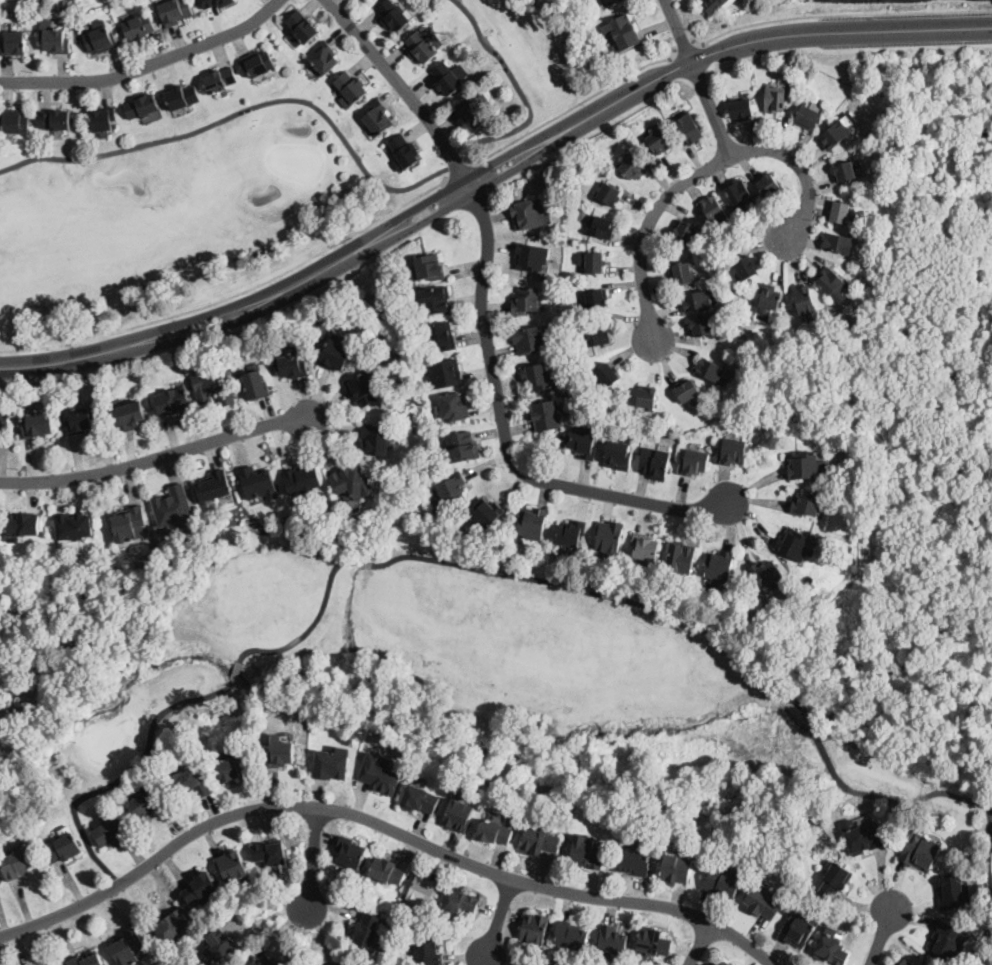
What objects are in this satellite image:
building: (764, 0)
building: (612, 2)
building: (214, 3)
building: (713, 6)
building: (174, 11)
road: (842, 13)
building: (393, 14)
building: (138, 26)
building: (301, 27)
building: (621, 32)
road: (680, 33)
building: (54, 38)
building: (100, 40)
building: (14, 43)
building: (420, 46)
road: (685, 46)
road: (714, 47)
building: (323, 58)
building: (259, 62)
road: (147, 65)
building: (446, 78)
building: (219, 80)
building: (350, 87)
road: (403, 87)
building: (182, 96)
building: (774, 98)
building: (142, 106)
road: (569, 106)
building: (741, 109)
building: (475, 110)
road: (714, 111)
building: (806, 116)
building: (377, 117)
building: (102, 118)
building: (55, 119)
building: (17, 120)
building: (689, 128)
building: (835, 134)
road: (341, 136)
building: (659, 141)
building: (403, 151)
road: (455, 166)
building: (632, 167)
building: (844, 170)
road: (700, 175)
building: (769, 184)
road: (464, 186)
park: (231, 187)
building: (738, 192)
building: (608, 194)
building: (714, 210)
road: (404, 211)
building: (840, 211)
building: (529, 213)
road: (411, 224)
building: (599, 226)
building: (685, 231)
building: (837, 243)
building: (530, 257)
road: (339, 259)
building: (593, 262)
building: (746, 266)
building: (429, 267)
building: (681, 271)
building: (830, 280)
building: (359, 291)
road: (235, 293)
building: (596, 298)
building: (434, 299)
building: (768, 299)
building: (804, 299)
building: (526, 300)
building: (696, 300)
road: (226, 305)
road: (232, 321)
building: (701, 325)
building: (441, 335)
building: (594, 335)
building: (528, 339)
building: (336, 353)
road: (67, 356)
building: (291, 363)
building: (710, 369)
building: (444, 373)
building: (606, 375)
building: (538, 376)
building: (256, 383)
building: (213, 386)
building: (363, 387)
building: (687, 390)
building: (647, 398)
building: (171, 400)
building: (453, 406)
building: (128, 415)
building: (545, 415)
building: (79, 421)
building: (5, 422)
building: (38, 424)
road: (503, 432)
building: (378, 439)
building: (584, 443)
building: (460, 447)
building: (732, 452)
building: (618, 454)
road: (157, 455)
building: (654, 462)
building: (694, 462)
building: (807, 466)
building: (302, 479)
building: (352, 482)
building: (258, 483)
building: (212, 486)
building: (453, 488)
building: (852, 494)
building: (806, 503)
building: (172, 506)
building: (484, 513)
building: (531, 522)
building: (128, 523)
building: (22, 526)
building: (74, 526)
building: (570, 532)
building: (608, 538)
building: (794, 543)
building: (644, 547)
building: (680, 557)
road: (361, 561)
building: (718, 565)
building: (765, 572)
road: (605, 591)
park: (417, 668)
building: (19, 700)
road: (180, 704)
road: (808, 722)
building: (279, 753)
building: (332, 763)
building: (234, 767)
building: (379, 773)
building: (190, 783)
building: (419, 798)
road: (887, 800)
building: (146, 803)
road: (987, 813)
building: (457, 815)
road: (384, 825)
building: (111, 831)
building: (494, 832)
building: (862, 839)
building: (538, 841)
building: (64, 845)
building: (349, 851)
building: (921, 851)
building: (587, 852)
building: (269, 853)
road: (313, 860)
building: (632, 861)
building: (18, 863)
road: (986, 864)
building: (231, 866)
building: (675, 868)
building: (387, 871)
building: (836, 879)
building: (724, 880)
building: (200, 887)
building: (423, 890)
building: (953, 892)
building: (458, 903)
building: (761, 903)
road: (58, 909)
road: (500, 919)
building: (172, 927)
building: (534, 927)
building: (367, 929)
building: (797, 929)
building: (570, 935)
road: (882, 939)
building: (612, 940)
building: (949, 941)
building: (652, 942)
road: (700, 945)
building: (127, 947)
building: (221, 948)
building: (831, 948)
building: (427, 950)
building: (86, 960)
building: (253, 960)
building: (723, 962)
building: (905, 962)
building: (338, 963)
building: (34, 964)

